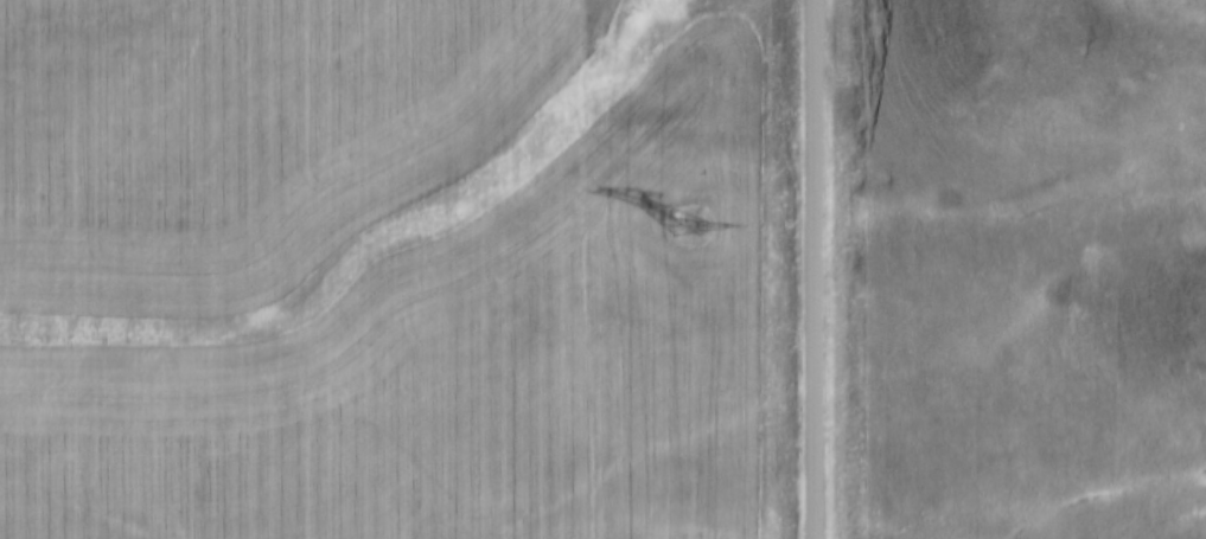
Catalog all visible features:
power tower: (694, 230)
road: (813, 269)

